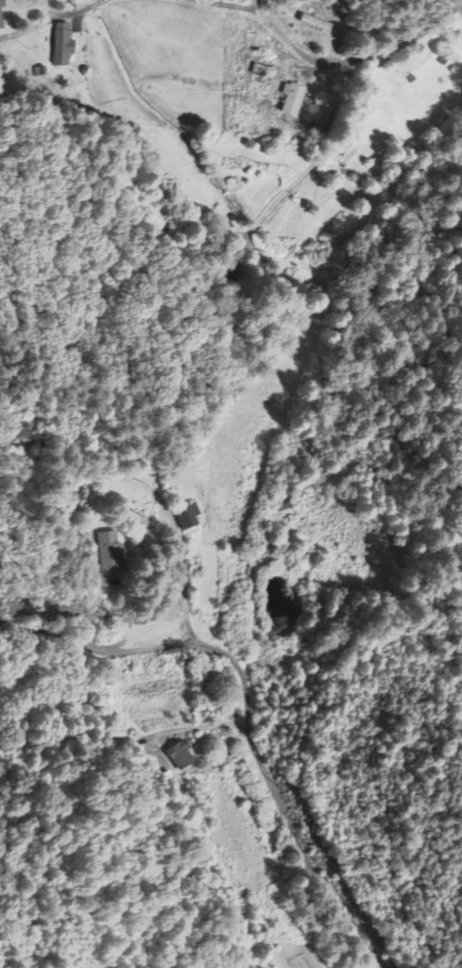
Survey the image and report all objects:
building: (0, 3)
building: (0, 24)
building: (62, 45)
road: (378, 87)
building: (291, 99)
building: (186, 516)
building: (108, 552)
building: (179, 755)
road: (327, 765)

